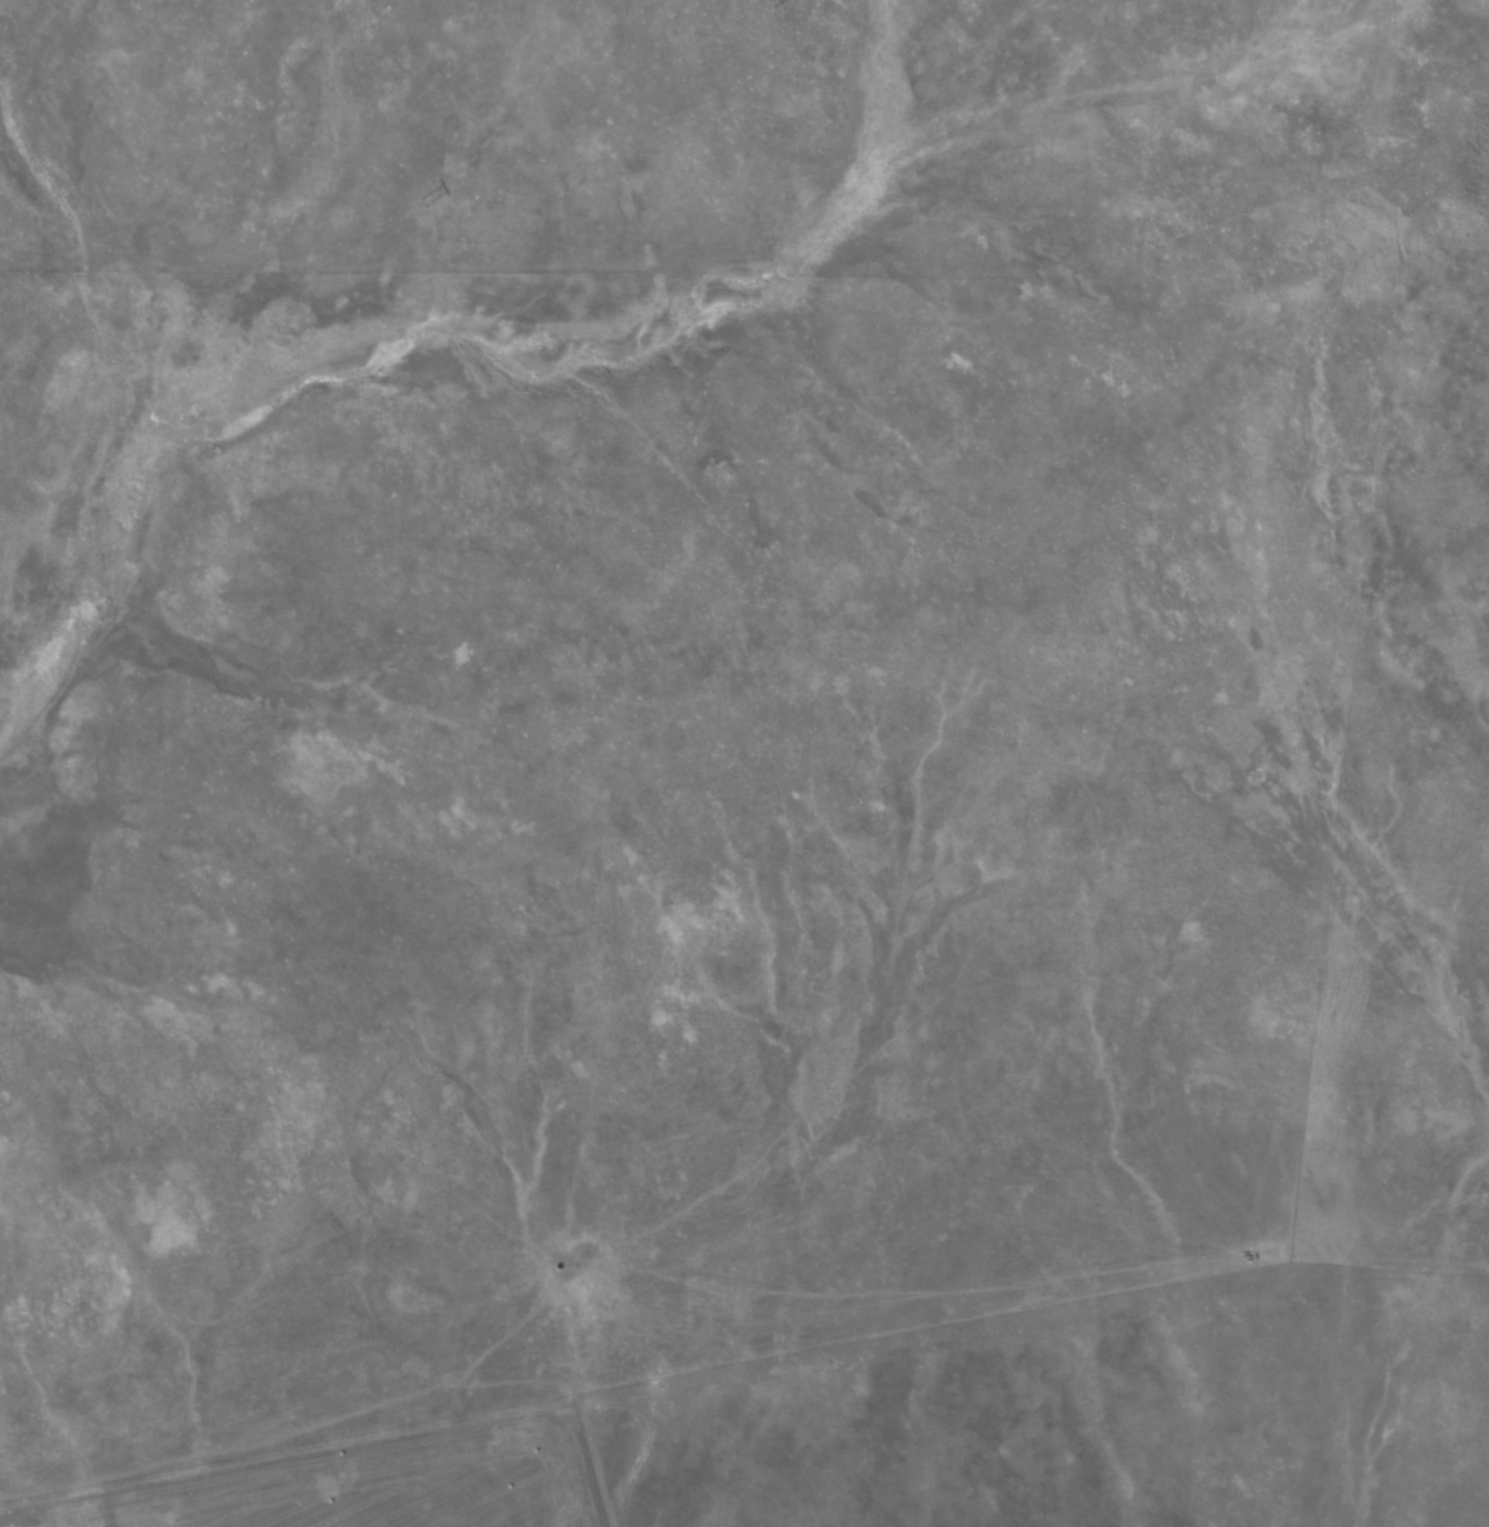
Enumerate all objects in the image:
power tower: (771, 5)
power tower: (423, 205)

